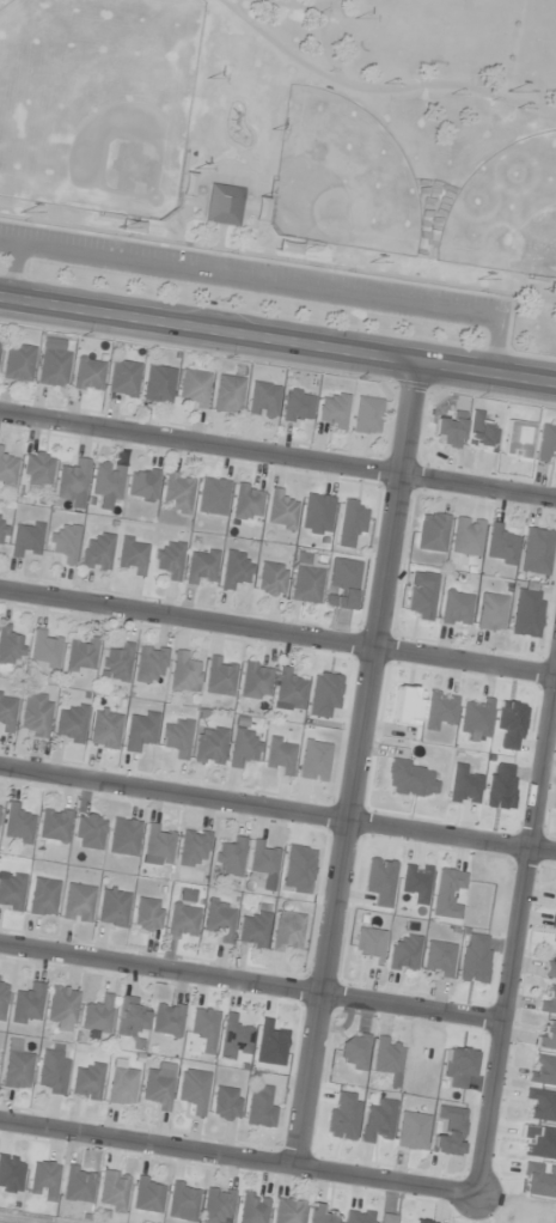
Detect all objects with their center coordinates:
park: (94, 101)
building: (222, 205)
building: (259, 208)
building: (129, 224)
building: (287, 248)
building: (551, 288)
road: (277, 336)
building: (16, 363)
building: (51, 363)
building: (86, 375)
building: (122, 378)
building: (157, 384)
building: (191, 388)
building: (226, 395)
building: (261, 400)
building: (295, 406)
building: (331, 410)
building: (366, 416)
building: (447, 431)
building: (481, 432)
building: (517, 439)
building: (546, 443)
road: (277, 452)
building: (36, 469)
building: (7, 470)
building: (72, 481)
building: (141, 483)
building: (106, 485)
building: (175, 493)
building: (210, 497)
building: (245, 503)
building: (279, 511)
building: (316, 513)
building: (349, 522)
building: (2, 527)
building: (432, 531)
building: (466, 536)
building: (25, 540)
building: (62, 543)
building: (500, 546)
building: (536, 550)
building: (96, 553)
building: (130, 555)
building: (167, 560)
building: (200, 567)
building: (233, 570)
building: (269, 579)
building: (342, 583)
building: (305, 584)
building: (420, 595)
building: (456, 608)
building: (490, 613)
road: (277, 632)
building: (10, 647)
building: (45, 650)
building: (79, 655)
building: (116, 664)
building: (149, 664)
building: (183, 674)
building: (219, 676)
building: (255, 681)
building: (288, 690)
building: (323, 694)
building: (6, 712)
building: (35, 716)
building: (69, 723)
building: (103, 729)
building: (139, 730)
building: (176, 737)
building: (209, 746)
building: (243, 747)
building: (279, 755)
road: (355, 761)
building: (410, 779)
road: (277, 809)
building: (17, 825)
building: (54, 825)
building: (88, 832)
building: (123, 836)
building: (158, 844)
building: (193, 848)
building: (230, 857)
building: (263, 859)
building: (11, 892)
building: (447, 893)
building: (42, 896)
building: (555, 896)
building: (78, 902)
building: (112, 907)
building: (147, 914)
building: (182, 920)
building: (219, 920)
building: (252, 930)
building: (287, 932)
road: (517, 933)
building: (368, 945)
building: (403, 953)
building: (438, 959)
building: (550, 965)
road: (251, 984)
building: (2, 994)
building: (548, 999)
building: (26, 1005)
building: (61, 1009)
building: (97, 1017)
building: (130, 1018)
building: (167, 1020)
building: (203, 1028)
building: (234, 1035)
building: (546, 1035)
building: (354, 1051)
building: (389, 1059)
building: (17, 1070)
building: (543, 1070)
building: (53, 1072)
building: (87, 1082)
building: (121, 1087)
building: (158, 1089)
building: (194, 1090)
building: (225, 1103)
building: (261, 1106)
road: (238, 1157)
building: (43, 1180)
building: (78, 1184)
building: (112, 1191)
building: (148, 1194)
building: (183, 1200)
building: (218, 1205)
building: (252, 1209)
building: (288, 1211)
building: (323, 1216)

